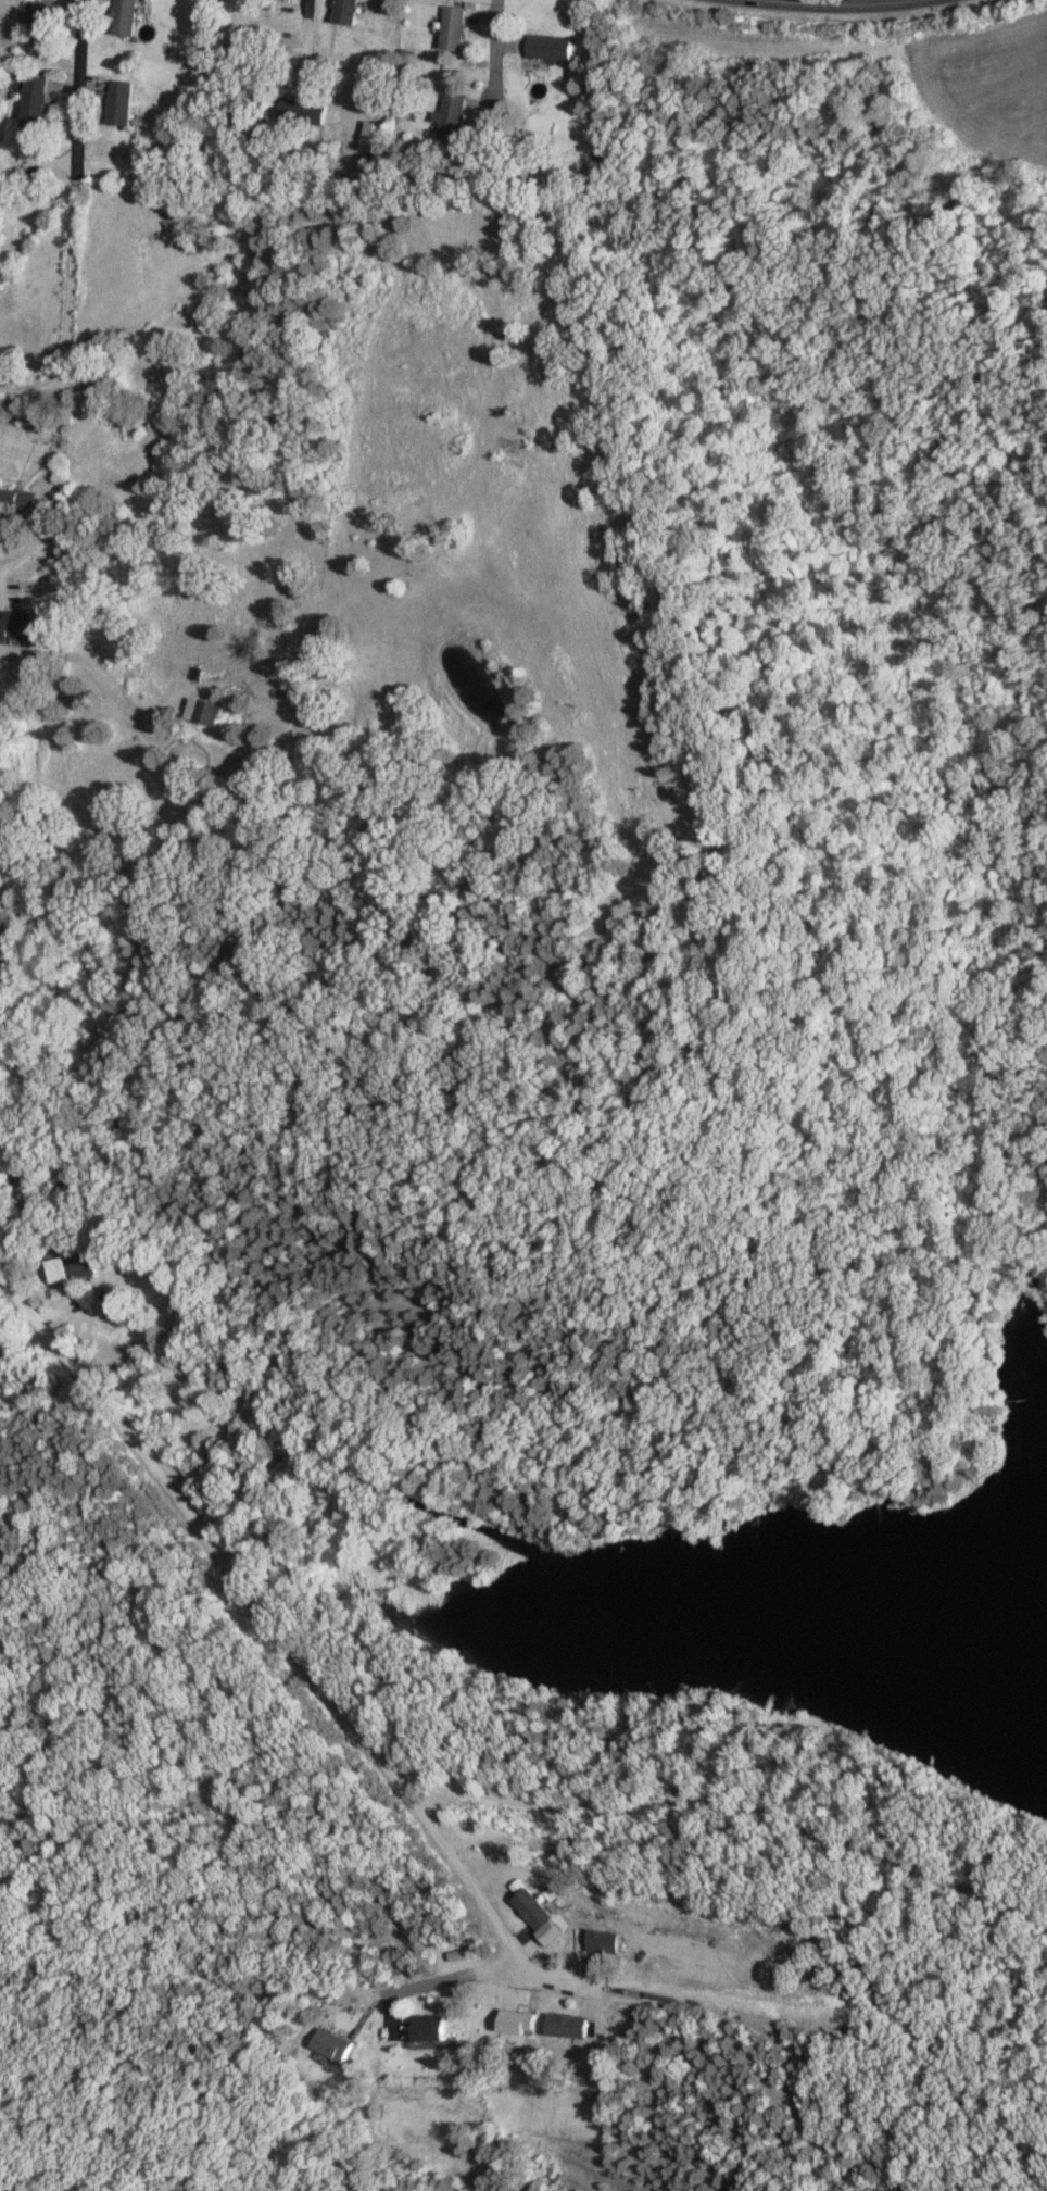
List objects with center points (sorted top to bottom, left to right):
road: (865, 2)
road: (833, 4)
building: (301, 8)
building: (341, 11)
building: (125, 16)
building: (40, 17)
building: (453, 27)
road: (302, 42)
building: (551, 46)
road: (499, 63)
building: (34, 97)
building: (121, 102)
building: (292, 108)
building: (451, 117)
building: (371, 135)
road: (73, 191)
road: (30, 384)
road: (55, 467)
building: (29, 498)
road: (14, 558)
road: (1, 588)
building: (30, 624)
road: (89, 665)
building: (203, 710)
building: (13, 1175)
building: (68, 1266)
road: (192, 1527)
road: (727, 1803)
road: (456, 1871)
building: (538, 1915)
building: (602, 1938)
road: (449, 1979)
road: (571, 1980)
road: (671, 1992)
building: (512, 2020)
building: (562, 2025)
building: (424, 2026)
building: (330, 2043)

